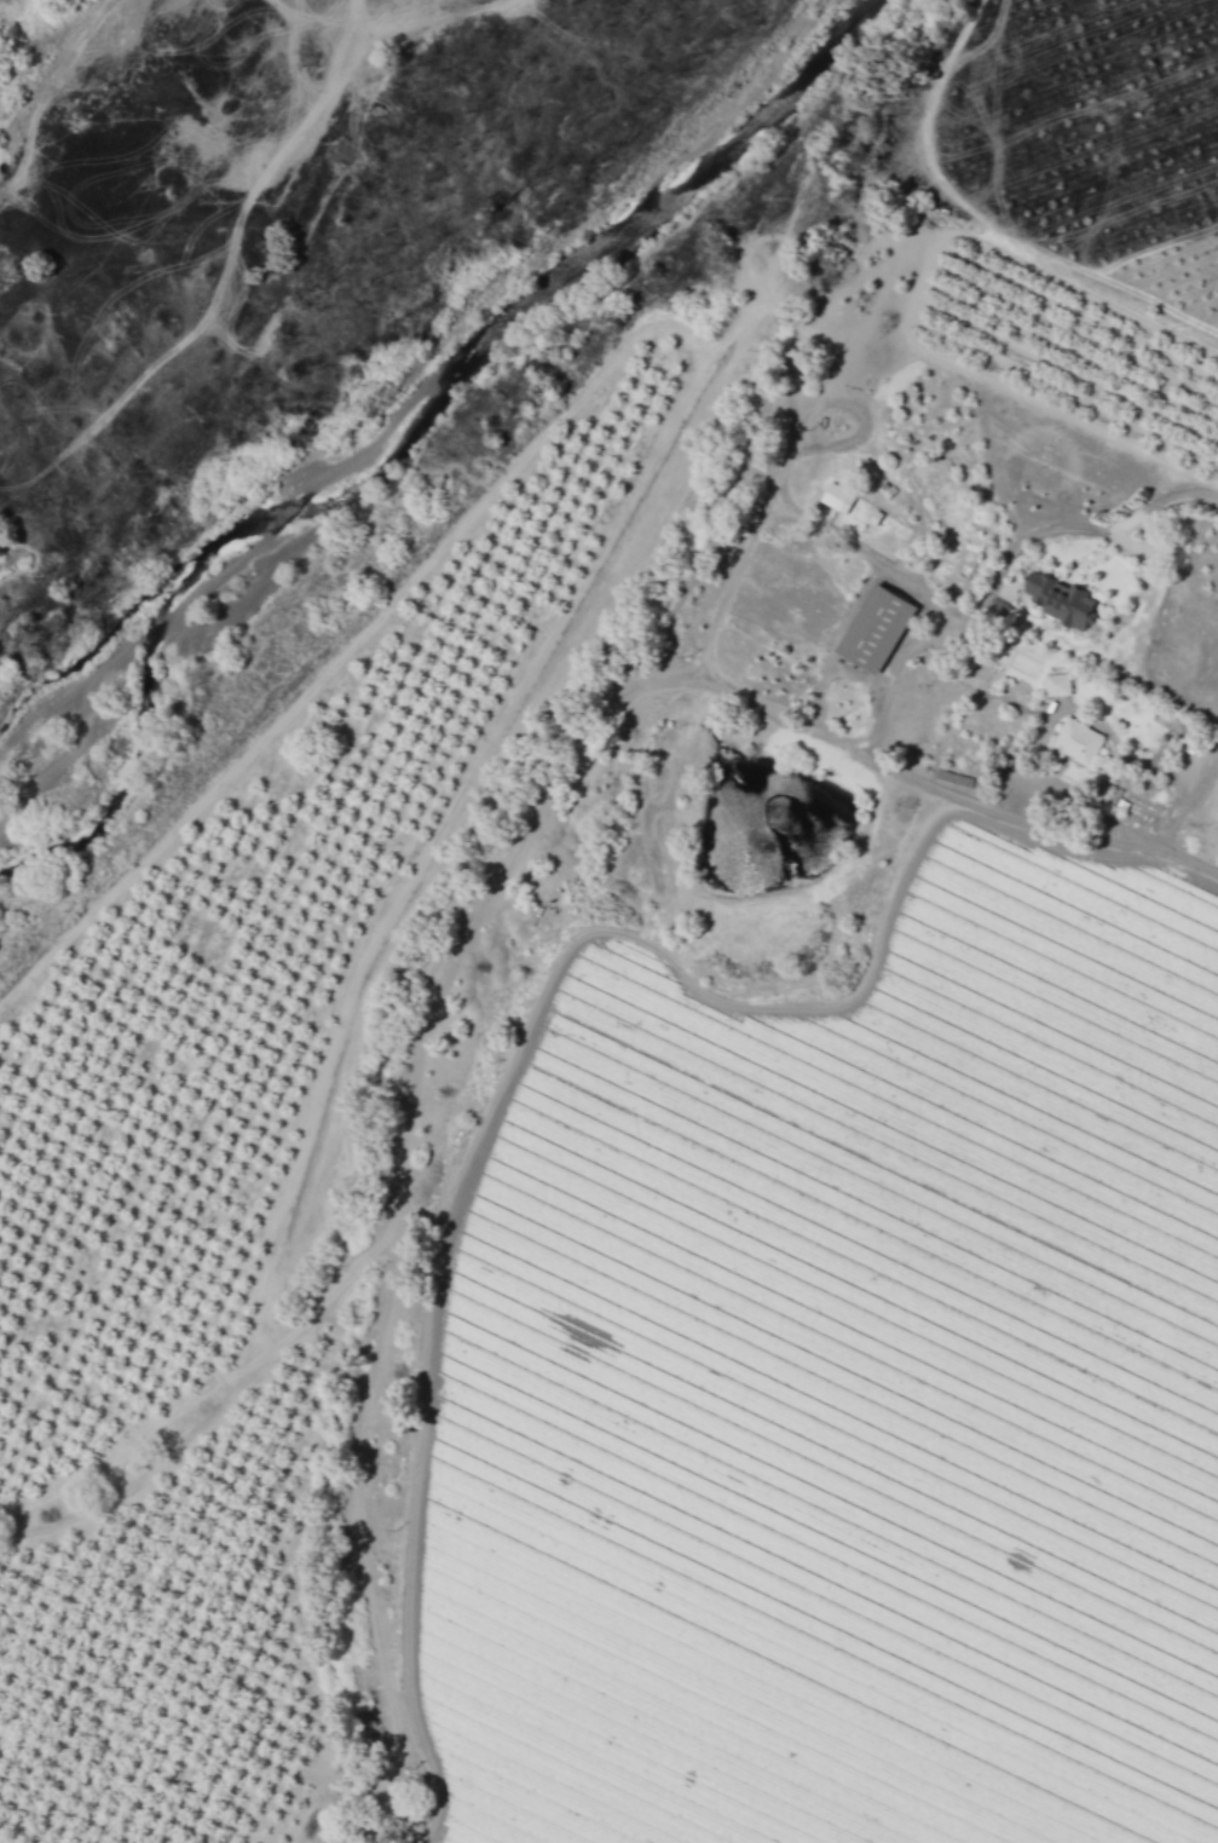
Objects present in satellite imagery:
river: (440, 397)
building: (837, 499)
road: (858, 548)
building: (1061, 600)
road: (715, 627)
building: (876, 629)
road: (832, 644)
road: (906, 647)
road: (854, 675)
building: (1057, 685)
building: (1076, 743)
road: (1166, 849)

